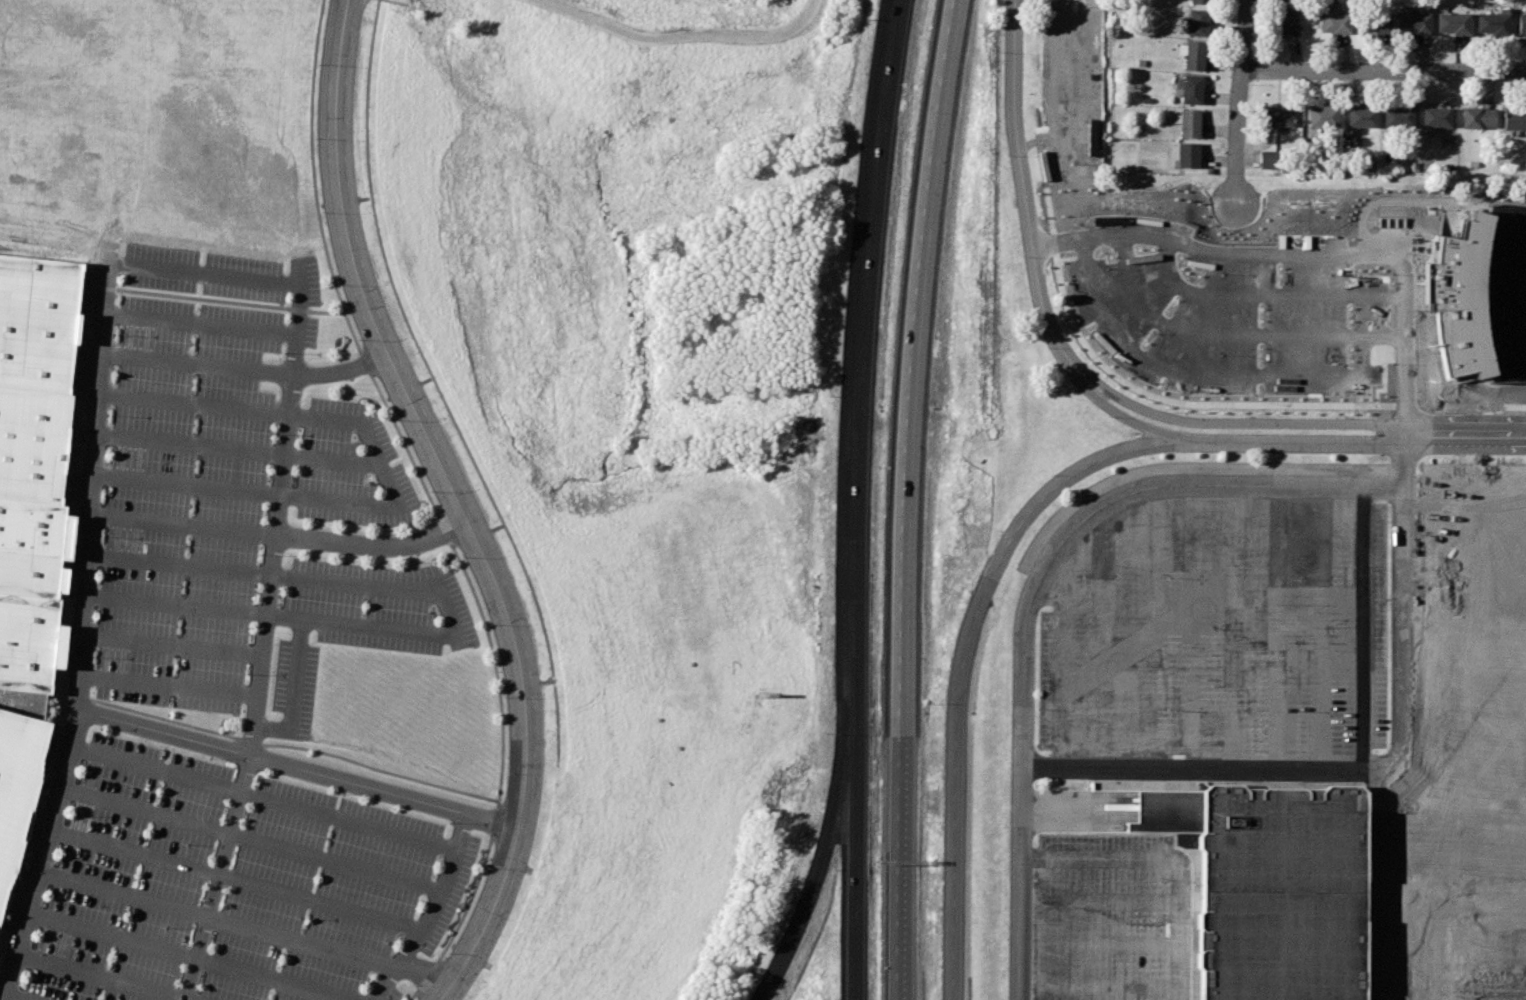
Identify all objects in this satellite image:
building: (1200, 1)
building: (1286, 15)
building: (1334, 18)
building: (1197, 22)
building: (1376, 22)
building: (1415, 22)
building: (1454, 22)
building: (1492, 22)
building: (1522, 25)
road: (681, 33)
building: (1196, 55)
road: (1385, 71)
building: (1190, 88)
road: (1242, 104)
building: (1278, 115)
building: (1323, 116)
building: (1362, 116)
building: (1399, 116)
building: (1436, 117)
building: (1479, 117)
building: (1515, 117)
building: (1188, 122)
building: (1186, 155)
building: (1271, 159)
road: (1019, 167)
road: (1301, 256)
road: (251, 279)
road: (203, 322)
building: (38, 323)
road: (860, 346)
road: (199, 364)
road: (1109, 389)
road: (1102, 401)
road: (195, 405)
road: (1295, 423)
road: (1465, 433)
road: (1292, 440)
building: (34, 445)
road: (191, 446)
road: (335, 462)
road: (392, 483)
road: (188, 486)
road: (908, 498)
road: (457, 503)
road: (184, 526)
building: (34, 546)
road: (375, 546)
road: (180, 566)
road: (1047, 567)
road: (176, 608)
road: (451, 619)
parking lot: (1214, 622)
road: (79, 635)
building: (28, 642)
road: (172, 644)
road: (266, 644)
road: (963, 662)
parking lot: (230, 673)
road: (168, 686)
road: (296, 694)
road: (1349, 766)
road: (299, 768)
road: (155, 769)
building: (18, 789)
road: (145, 810)
building: (1167, 811)
road: (350, 822)
road: (851, 847)
road: (823, 851)
road: (135, 853)
road: (1169, 859)
road: (338, 862)
building: (1277, 891)
road: (323, 903)
road: (432, 914)
road: (1441, 916)
parking lot: (1112, 918)
road: (219, 921)
road: (115, 937)
road: (100, 978)
road: (276, 979)
road: (424, 983)
road: (16, 998)

